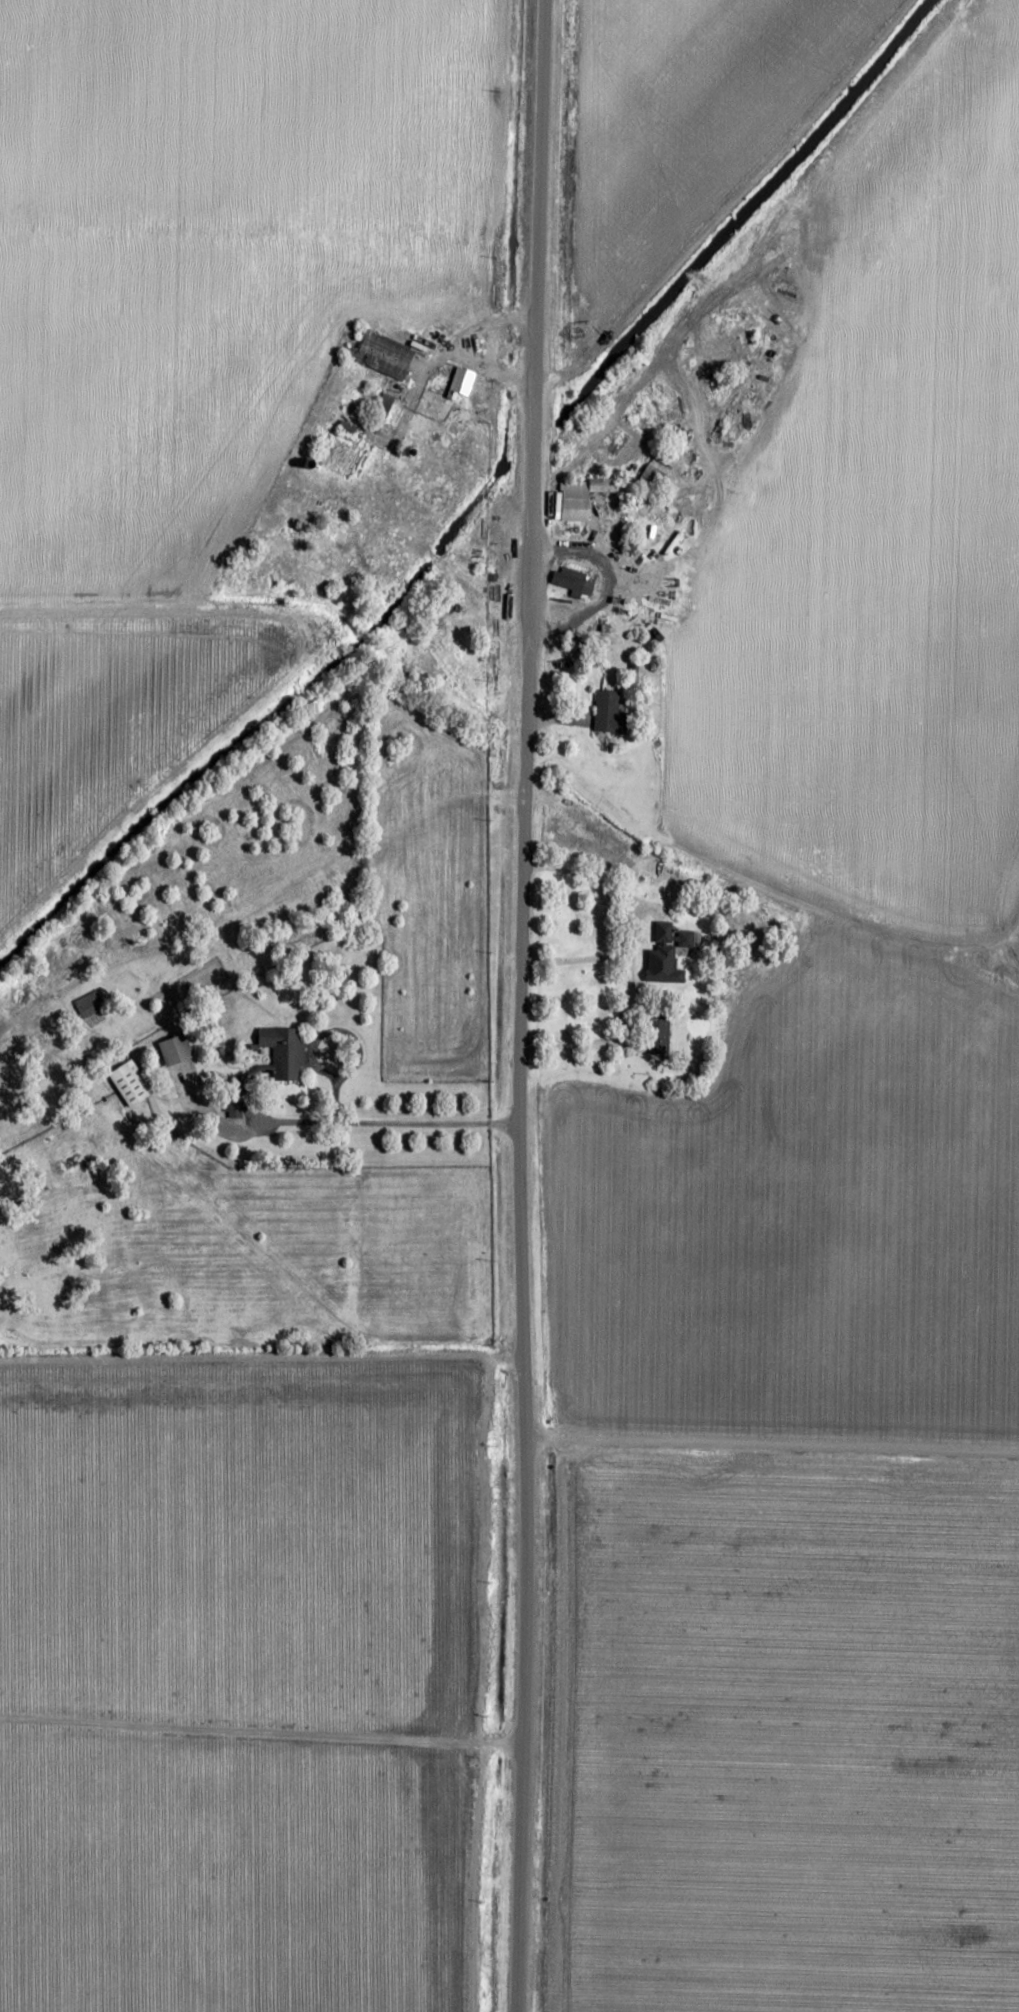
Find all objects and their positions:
road: (441, 352)
building: (384, 354)
road: (773, 376)
building: (463, 381)
building: (656, 474)
building: (584, 495)
building: (570, 578)
road: (142, 620)
building: (611, 713)
building: (671, 944)
road: (522, 1005)
road: (627, 1023)
building: (662, 1038)
building: (178, 1049)
building: (132, 1084)
road: (384, 1125)
road: (767, 1446)

